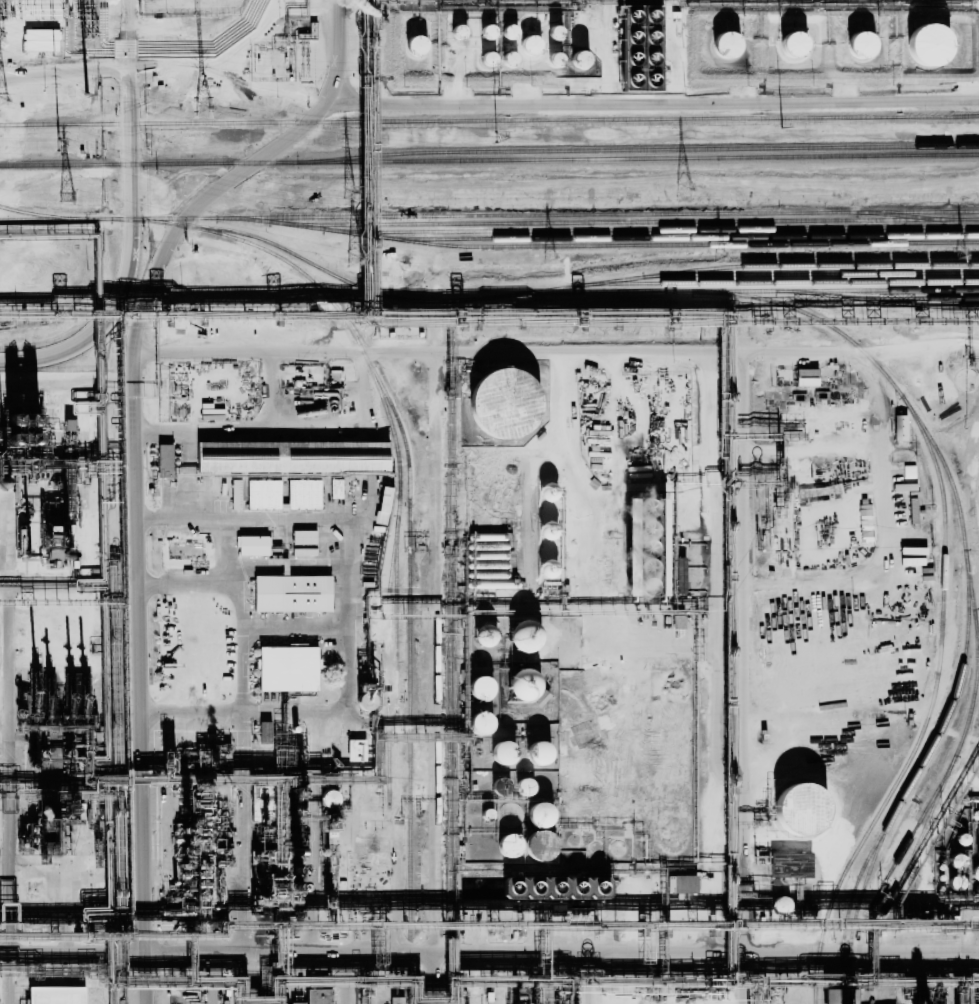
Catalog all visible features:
power substation: (191, 7)
building: (486, 30)
building: (457, 31)
building: (508, 31)
building: (554, 32)
building: (792, 43)
building: (529, 44)
building: (860, 44)
building: (725, 45)
building: (928, 45)
building: (416, 46)
building: (507, 58)
building: (487, 59)
building: (553, 59)
building: (578, 60)
road: (64, 73)
power tower: (1, 100)
road: (653, 102)
railway: (133, 105)
power tower: (201, 107)
road: (129, 118)
railway: (489, 120)
power tower: (781, 129)
power tower: (490, 135)
railway: (638, 149)
power tower: (59, 151)
railway: (489, 159)
road: (248, 166)
power tower: (684, 189)
power tower: (348, 192)
power tower: (67, 195)
railway: (544, 214)
railway: (905, 215)
railway: (55, 216)
railway: (46, 218)
railway: (623, 221)
railway: (650, 228)
railway: (676, 236)
railway: (596, 244)
power tower: (960, 253)
power tower: (719, 255)
power tower: (353, 259)
railway: (741, 266)
railway: (810, 273)
railway: (777, 281)
railway: (877, 289)
railway: (835, 295)
railway: (394, 296)
railway: (909, 303)
road: (94, 330)
road: (244, 349)
road: (349, 349)
building: (806, 377)
road: (67, 386)
building: (501, 403)
railway: (385, 407)
building: (900, 427)
road: (207, 434)
building: (354, 458)
building: (236, 460)
building: (163, 461)
building: (336, 488)
building: (235, 494)
building: (263, 494)
building: (303, 494)
building: (548, 499)
building: (381, 505)
railway: (959, 512)
railway: (409, 515)
building: (865, 515)
road: (342, 518)
building: (303, 537)
building: (253, 545)
building: (642, 547)
building: (548, 549)
road: (226, 550)
building: (912, 551)
building: (304, 552)
building: (679, 578)
railway: (942, 586)
building: (291, 593)
railway: (396, 612)
building: (483, 635)
building: (522, 636)
road: (245, 650)
railway: (388, 659)
road: (140, 667)
building: (287, 669)
railway: (976, 683)
building: (521, 686)
building: (479, 689)
road: (285, 711)
building: (478, 724)
building: (264, 732)
building: (355, 750)
building: (539, 753)
building: (498, 755)
railway: (921, 764)
building: (497, 788)
building: (524, 788)
road: (16, 796)
building: (328, 799)
building: (796, 809)
building: (487, 814)
building: (537, 815)
railway: (920, 818)
building: (978, 831)
railway: (921, 834)
building: (961, 839)
building: (507, 846)
building: (312, 862)
building: (954, 862)
building: (789, 865)
building: (974, 874)
railway: (865, 881)
building: (954, 883)
building: (683, 884)
building: (553, 889)
building: (778, 906)
road: (489, 950)
road: (351, 977)
railway: (841, 986)
railway: (848, 986)
building: (53, 994)
building: (314, 995)
building: (835, 995)
building: (293, 1002)

